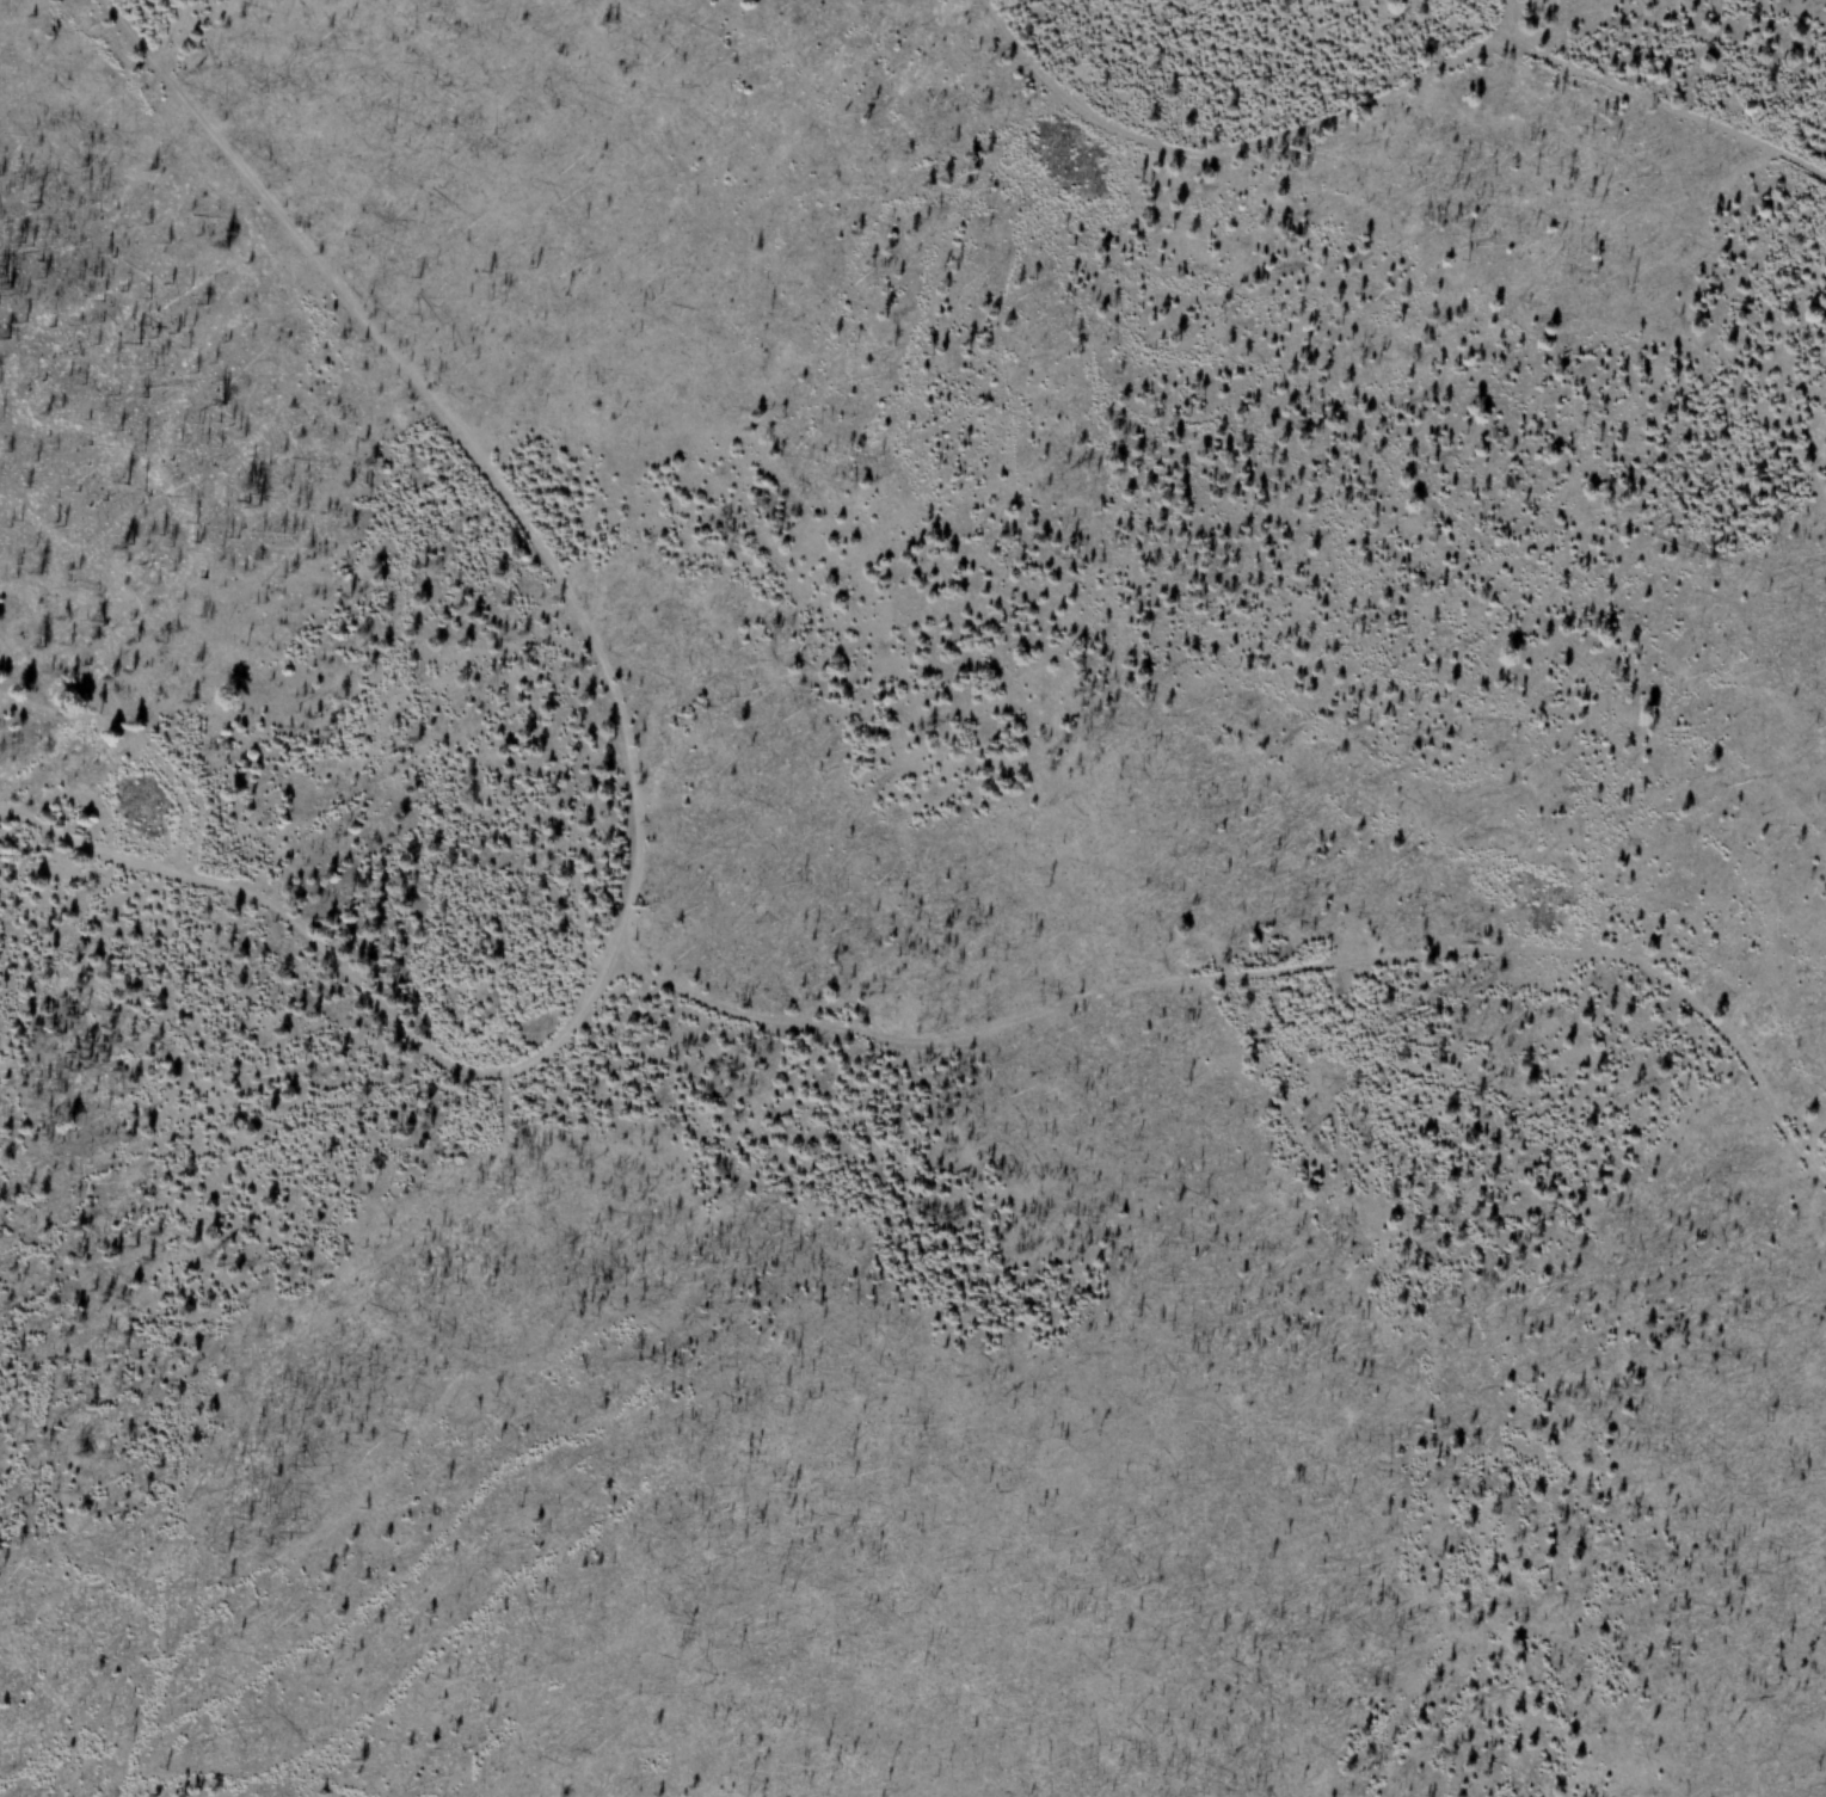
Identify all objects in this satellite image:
road: (1506, 20)
road: (1387, 93)
road: (625, 764)
road: (1256, 972)

